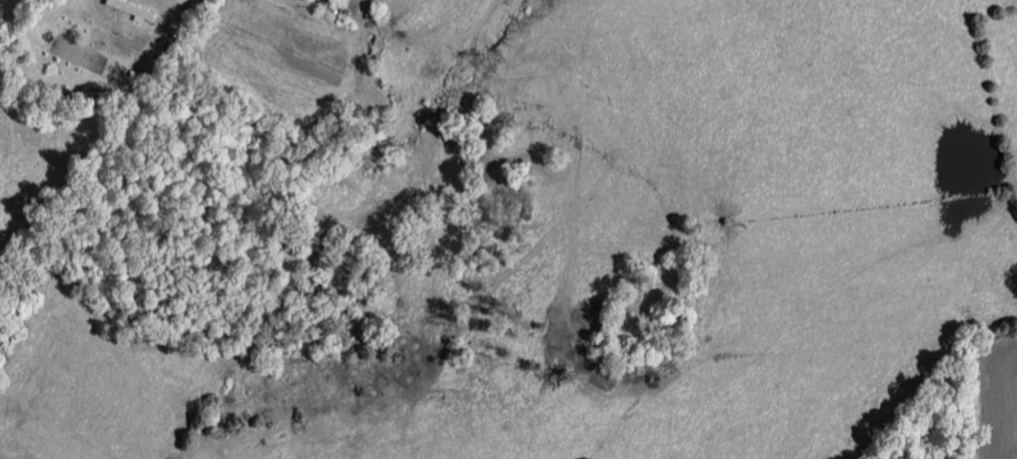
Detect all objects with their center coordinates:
building: (135, 10)

